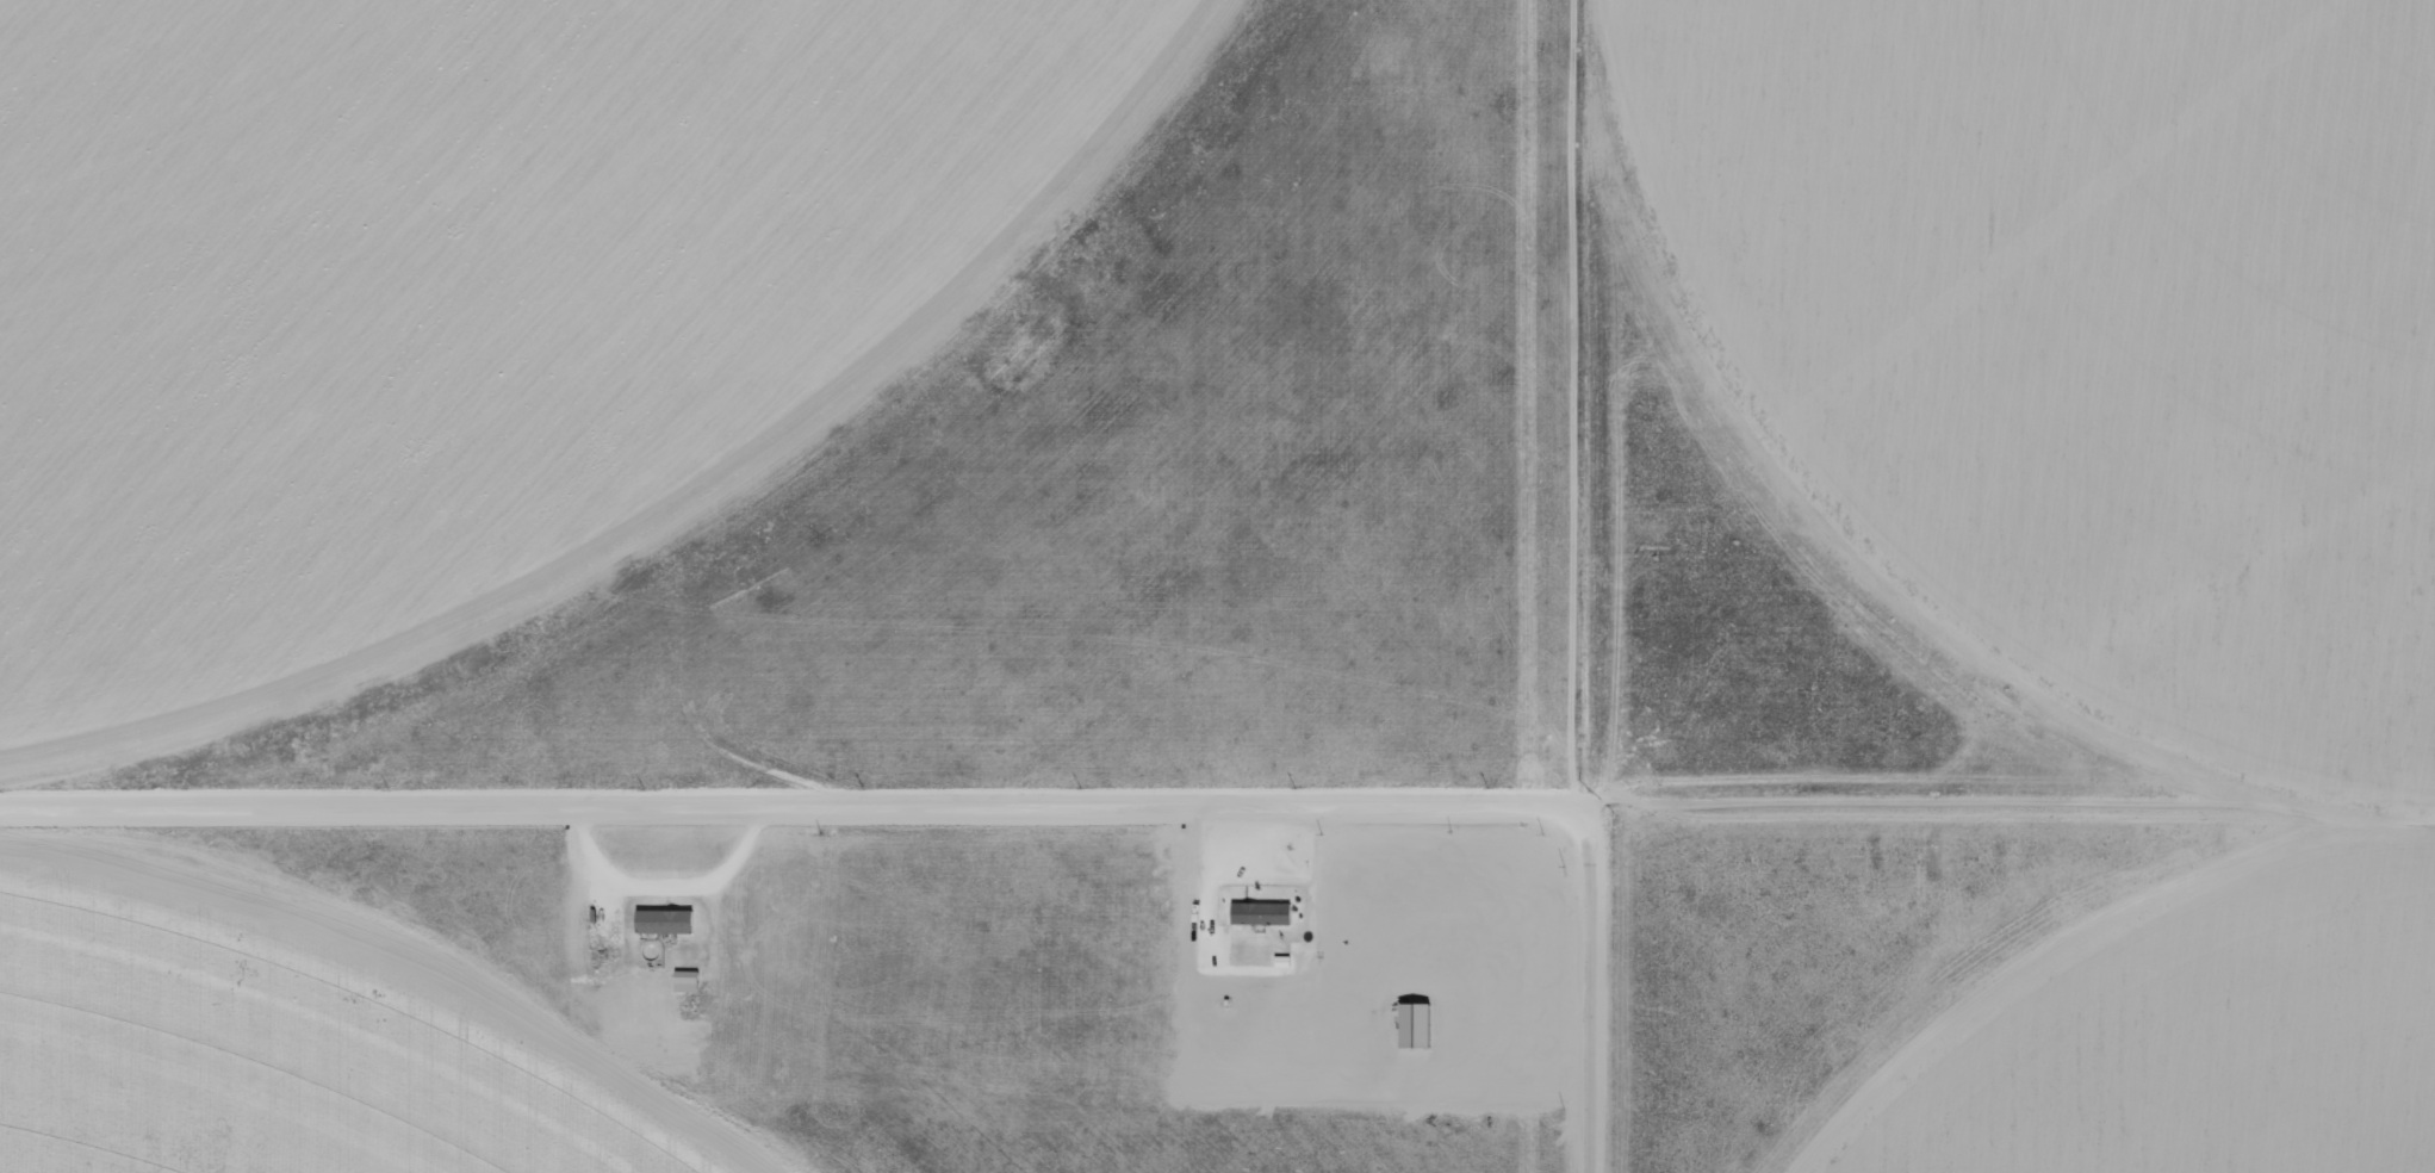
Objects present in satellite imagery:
road: (799, 836)
building: (1262, 913)
building: (667, 921)
building: (688, 981)
building: (1418, 1024)
road: (1572, 1037)

